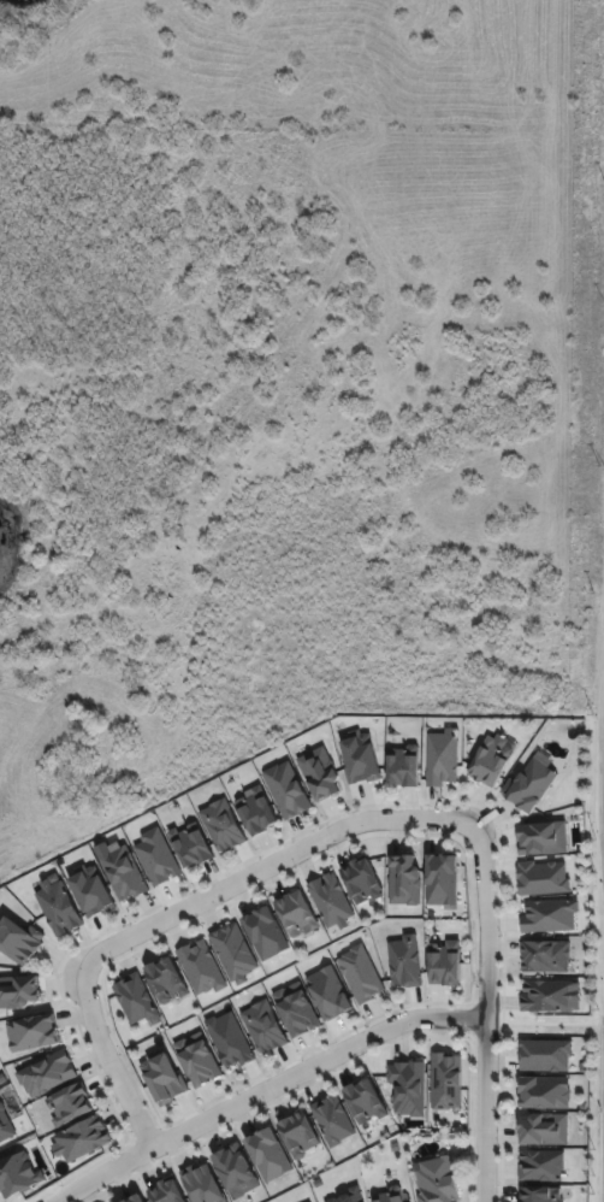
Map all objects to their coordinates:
building: (360, 758)
building: (442, 760)
building: (491, 764)
building: (404, 766)
building: (321, 774)
building: (532, 786)
building: (288, 791)
building: (257, 813)
building: (224, 827)
building: (544, 839)
building: (193, 847)
building: (158, 859)
building: (124, 874)
building: (365, 878)
building: (544, 880)
building: (407, 882)
building: (444, 882)
building: (93, 894)
building: (332, 900)
building: (59, 909)
building: (298, 912)
building: (551, 914)
road: (482, 918)
road: (179, 919)
building: (267, 936)
building: (19, 943)
building: (235, 954)
building: (546, 958)
building: (405, 961)
building: (446, 962)
building: (202, 966)
building: (361, 976)
building: (167, 978)
building: (19, 994)
building: (331, 995)
building: (550, 996)
building: (135, 997)
building: (297, 1012)
building: (265, 1026)
building: (34, 1035)
building: (231, 1038)
building: (546, 1056)
building: (199, 1062)
building: (48, 1076)
building: (164, 1076)
building: (446, 1084)
building: (410, 1090)
road: (266, 1094)
building: (546, 1095)
building: (366, 1101)
building: (70, 1107)
road: (482, 1110)
building: (333, 1119)
building: (5, 1126)
building: (546, 1132)
building: (301, 1133)
building: (83, 1141)
building: (271, 1157)
building: (540, 1165)
building: (237, 1173)
building: (17, 1174)
building: (438, 1180)
building: (202, 1185)
building: (167, 1192)
building: (540, 1194)
building: (356, 1196)
building: (398, 1198)
building: (138, 1200)
building: (337, 1201)

